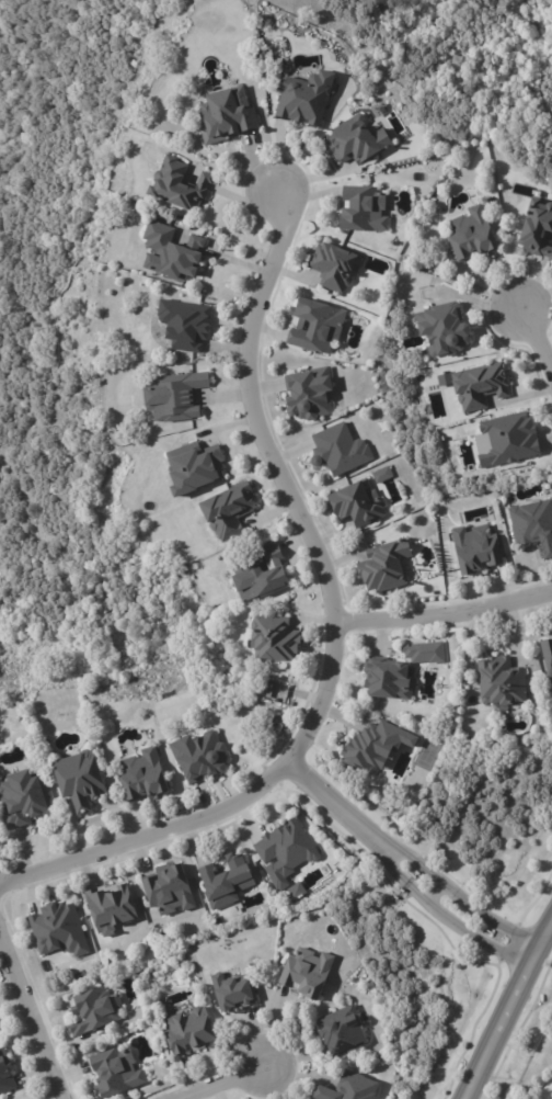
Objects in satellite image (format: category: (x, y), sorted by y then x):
building: (308, 97)
building: (231, 114)
building: (360, 140)
building: (179, 185)
building: (364, 208)
building: (537, 228)
building: (474, 235)
building: (174, 252)
building: (337, 265)
building: (187, 322)
building: (318, 325)
building: (448, 329)
road: (533, 337)
building: (482, 386)
building: (310, 394)
building: (177, 396)
building: (511, 438)
building: (341, 450)
building: (195, 468)
building: (359, 502)
building: (228, 510)
building: (532, 523)
building: (481, 548)
building: (510, 552)
building: (388, 566)
building: (263, 574)
road: (446, 615)
road: (337, 624)
building: (279, 639)
building: (422, 652)
building: (549, 656)
building: (390, 677)
building: (504, 682)
building: (272, 694)
building: (281, 723)
building: (369, 750)
building: (203, 757)
building: (146, 777)
building: (83, 779)
building: (24, 798)
building: (289, 848)
road: (409, 863)
building: (229, 882)
building: (170, 890)
building: (114, 908)
building: (60, 930)
building: (309, 973)
building: (237, 992)
road: (504, 1008)
road: (33, 1011)
building: (96, 1012)
building: (341, 1028)
building: (0, 1030)
building: (194, 1032)
building: (7, 1072)
building: (119, 1072)
road: (226, 1079)
building: (350, 1088)
building: (550, 1097)

